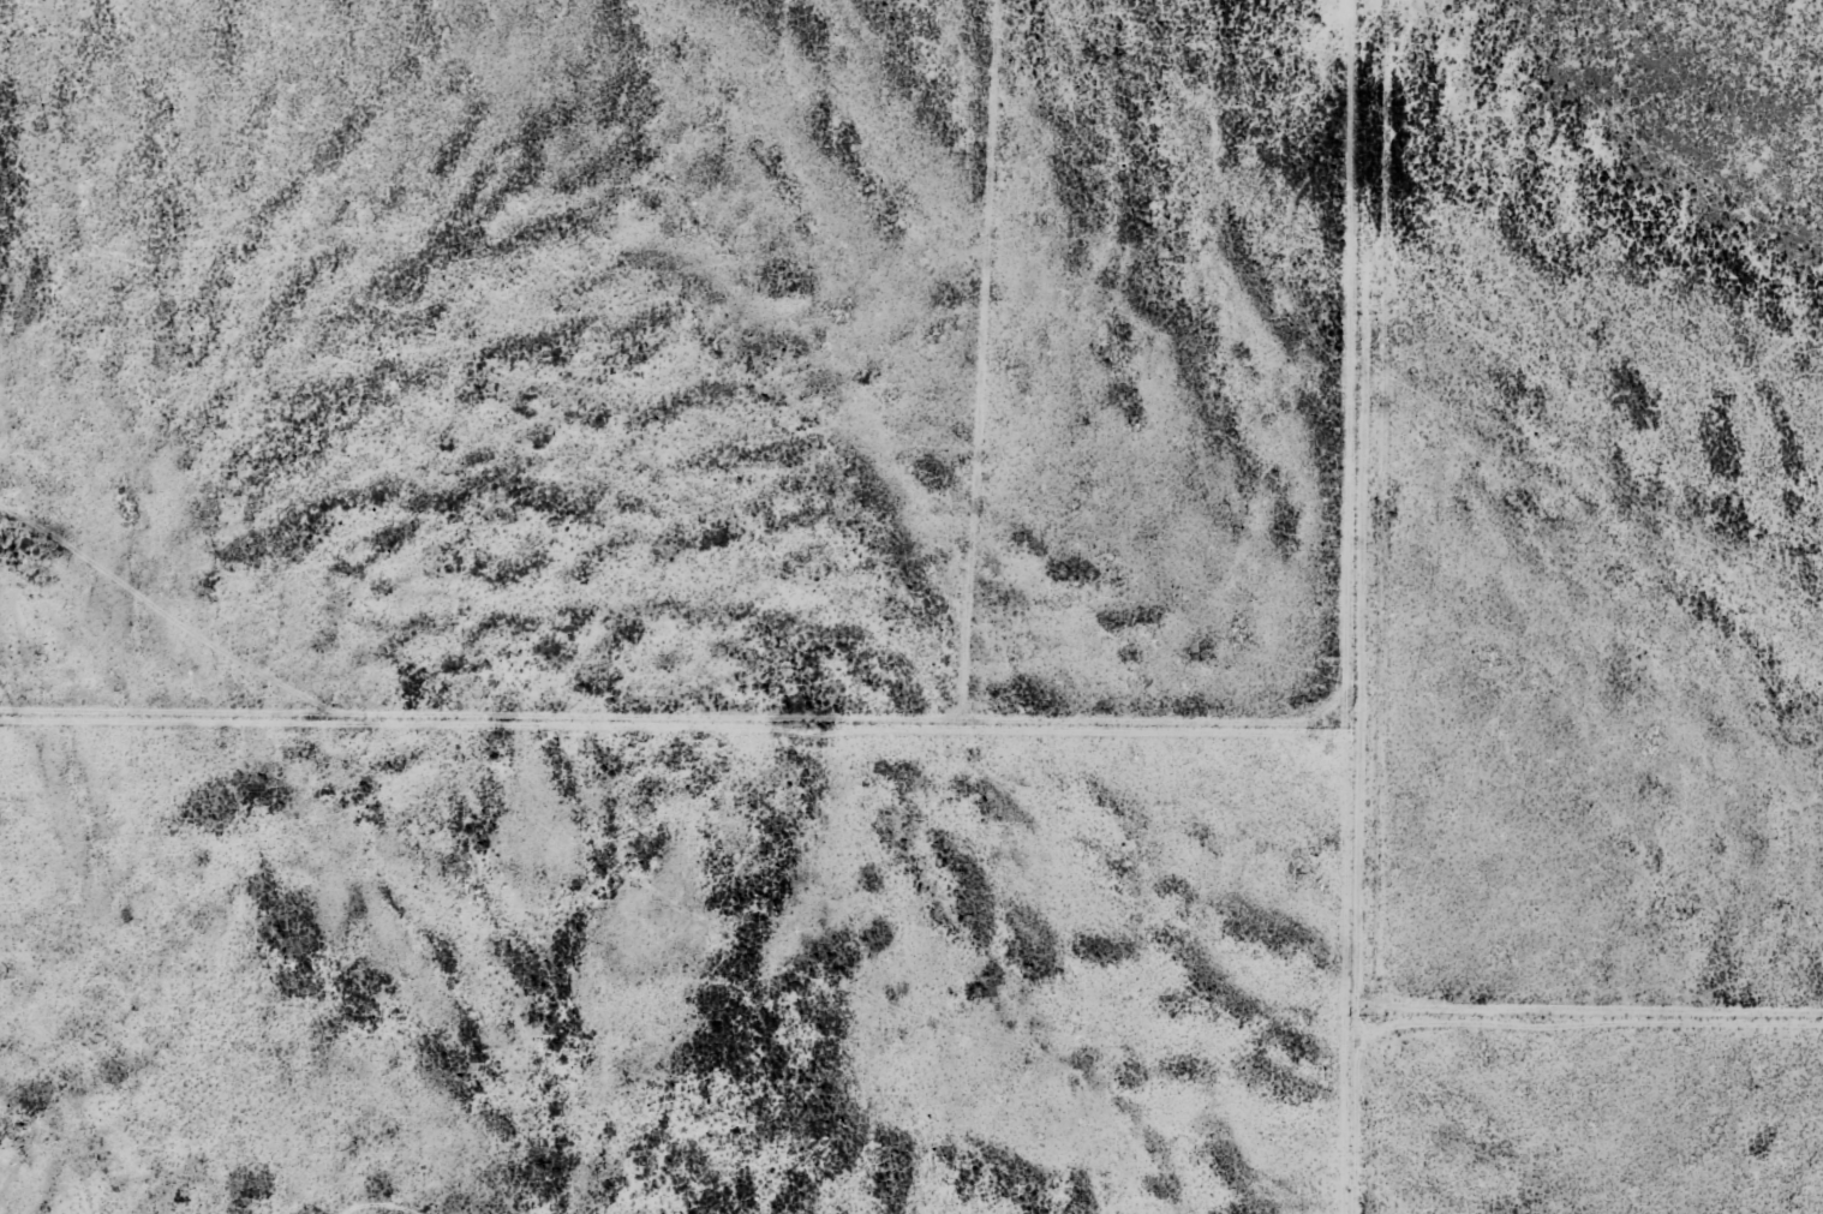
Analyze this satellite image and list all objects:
road: (1350, 734)

